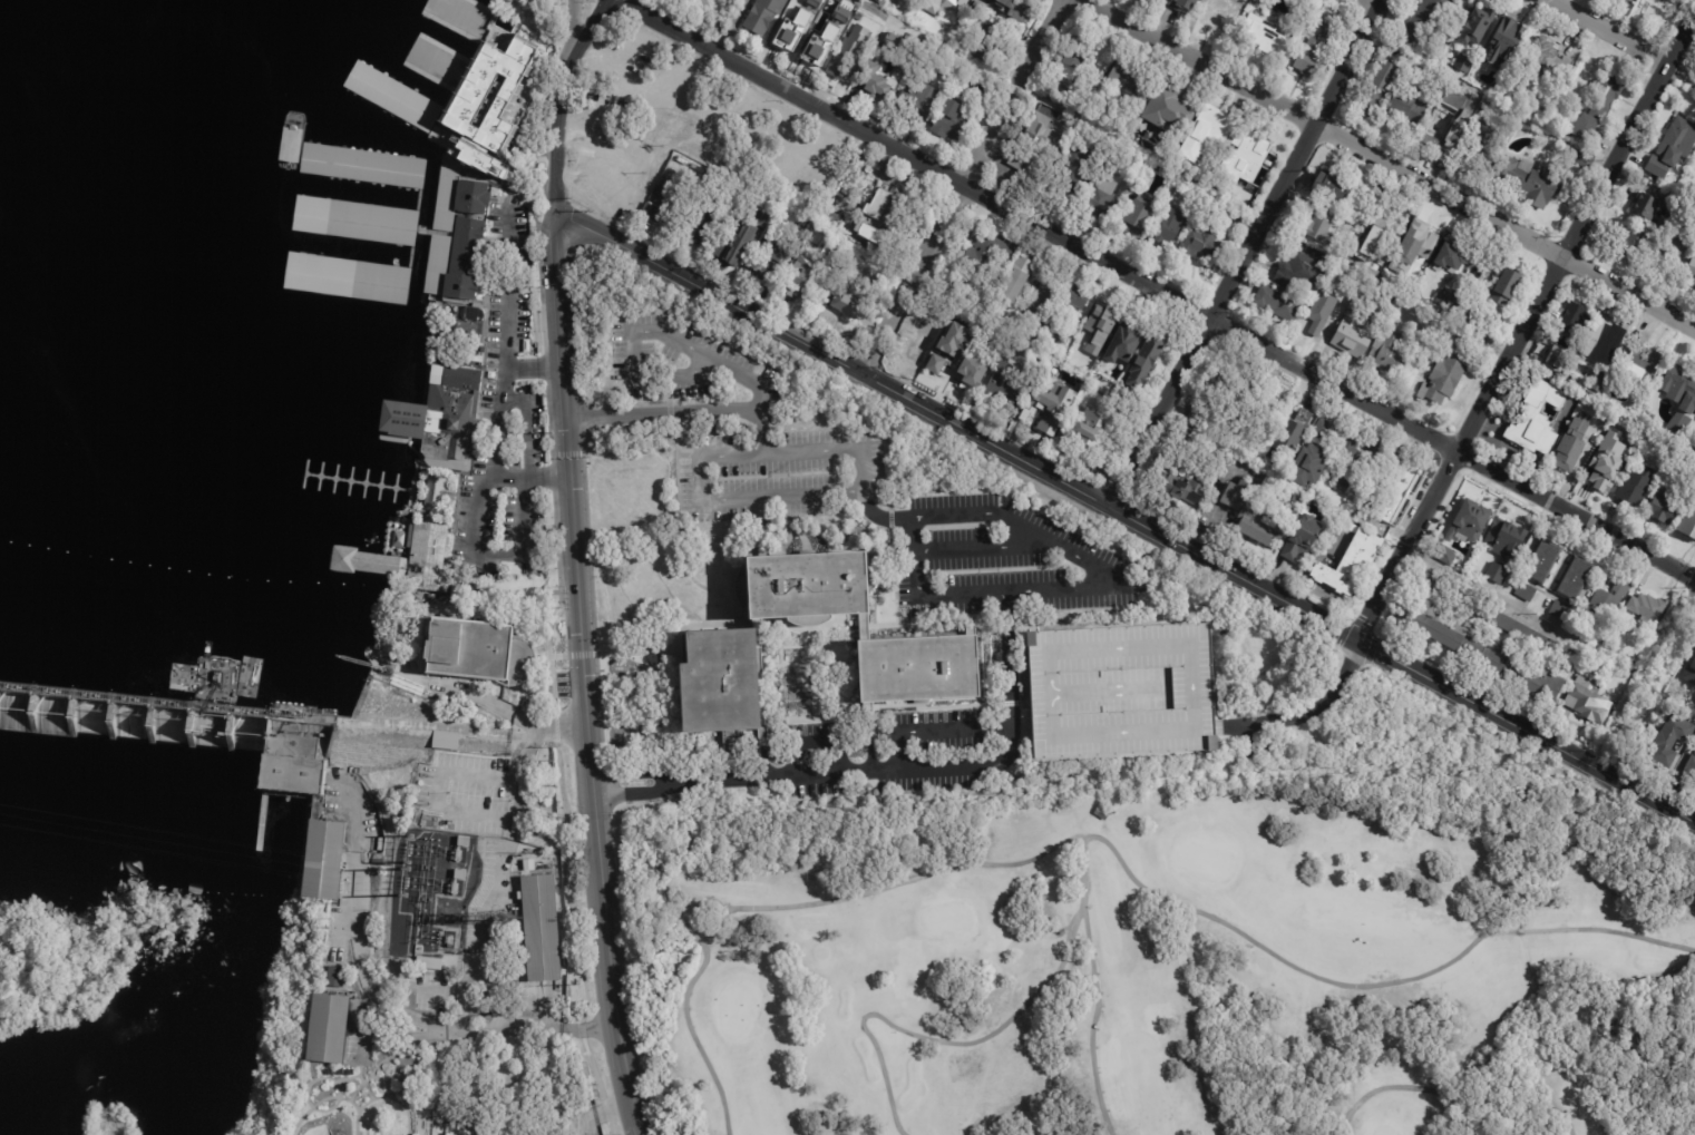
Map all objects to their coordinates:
building: (1625, 0)
building: (1634, 0)
building: (1668, 0)
building: (1672, 0)
building: (880, 1)
building: (908, 1)
building: (1257, 1)
building: (962, 3)
building: (980, 4)
building: (1182, 4)
building: (931, 6)
building: (1021, 8)
road: (1368, 9)
building: (763, 14)
park: (553, 16)
building: (857, 17)
building: (973, 17)
building: (845, 19)
building: (821, 21)
building: (1421, 25)
road: (730, 26)
building: (1478, 26)
building: (792, 31)
building: (1266, 36)
building: (805, 37)
road: (1623, 39)
building: (1504, 43)
building: (1318, 48)
building: (848, 52)
building: (1080, 52)
building: (988, 57)
building: (1546, 60)
building: (1464, 62)
building: (1127, 76)
building: (875, 84)
building: (1060, 87)
building: (1379, 87)
building: (1606, 94)
building: (392, 96)
building: (500, 97)
road: (671, 101)
road: (559, 102)
building: (918, 102)
building: (1158, 105)
building: (1409, 108)
building: (952, 121)
building: (1211, 125)
building: (1461, 126)
building: (1588, 128)
road: (788, 136)
building: (1039, 147)
building: (1482, 147)
building: (1249, 148)
building: (1674, 148)
building: (467, 153)
building: (380, 167)
road: (1394, 168)
building: (1074, 169)
building: (1529, 180)
road: (962, 184)
building: (1334, 188)
building: (1653, 194)
building: (457, 195)
building: (1192, 196)
building: (668, 197)
building: (1102, 197)
building: (1646, 206)
building: (886, 207)
building: (1139, 219)
building: (360, 221)
building: (1169, 226)
building: (1322, 226)
building: (699, 228)
building: (1384, 228)
building: (435, 232)
building: (871, 235)
building: (473, 242)
building: (995, 243)
building: (1635, 243)
building: (1678, 244)
building: (1204, 245)
building: (1415, 247)
building: (721, 251)
road: (1244, 252)
building: (1453, 255)
building: (773, 258)
building: (1024, 265)
building: (1304, 271)
building: (1691, 271)
building: (355, 277)
building: (800, 281)
building: (1694, 284)
building: (1017, 288)
building: (1506, 288)
building: (962, 292)
road: (1157, 292)
building: (1353, 293)
building: (1045, 301)
building: (1278, 304)
building: (851, 306)
building: (1068, 311)
building: (1464, 311)
building: (1322, 312)
building: (1104, 314)
building: (1576, 321)
building: (1489, 325)
road: (1526, 325)
building: (1350, 333)
building: (952, 337)
building: (927, 339)
building: (1606, 341)
building: (1126, 342)
road: (501, 345)
building: (1391, 352)
building: (479, 356)
parking lot: (675, 358)
building: (1148, 359)
building: (1646, 359)
building: (1560, 360)
building: (934, 364)
road: (532, 368)
building: (971, 369)
building: (1448, 374)
building: (462, 375)
building: (1601, 381)
road: (758, 385)
building: (1007, 385)
building: (1681, 388)
building: (1541, 405)
building: (1049, 407)
parking lot: (513, 408)
road: (663, 413)
building: (1200, 418)
building: (444, 422)
building: (1325, 429)
building: (1293, 433)
building: (1094, 434)
building: (1189, 443)
building: (1575, 446)
building: (1348, 463)
building: (1311, 467)
building: (1606, 468)
road: (530, 473)
parking lot: (777, 474)
building: (1186, 480)
building: (1638, 487)
building: (434, 491)
building: (1273, 491)
building: (1393, 492)
road: (724, 502)
building: (1667, 508)
road: (1126, 516)
building: (1251, 516)
building: (1470, 518)
building: (1689, 526)
building: (399, 539)
building: (1501, 539)
building: (1303, 540)
road: (983, 547)
road: (484, 554)
building: (409, 559)
road: (1082, 559)
parking lot: (1002, 561)
building: (1546, 561)
building: (1348, 565)
river: (223, 570)
building: (1489, 573)
building: (1577, 580)
building: (798, 586)
building: (1526, 593)
road: (920, 594)
building: (1607, 605)
road: (422, 608)
road: (685, 608)
road: (1521, 608)
building: (1648, 609)
building: (1560, 611)
building: (810, 620)
building: (864, 627)
building: (1590, 633)
building: (1526, 634)
building: (474, 649)
road: (626, 653)
building: (1484, 655)
building: (905, 671)
building: (1689, 674)
road: (584, 677)
building: (703, 684)
building: (1120, 691)
road: (493, 703)
building: (1589, 703)
road: (1306, 713)
road: (935, 728)
road: (565, 731)
dam: (251, 735)
road: (1248, 738)
building: (446, 740)
building: (1673, 742)
road: (881, 769)
building: (1691, 771)
building: (292, 774)
road: (442, 789)
building: (1102, 813)
building: (464, 842)
building: (321, 859)
park: (1205, 860)
building: (528, 864)
building: (460, 875)
power substation: (431, 894)
road: (762, 908)
road: (486, 918)
park: (948, 918)
building: (540, 928)
road: (1236, 931)
park: (1168, 961)
building: (429, 963)
building: (334, 977)
park: (736, 1011)
road: (408, 1018)
building: (328, 1028)
road: (946, 1043)
road: (601, 1110)
road: (1452, 1112)
park: (1385, 1129)

